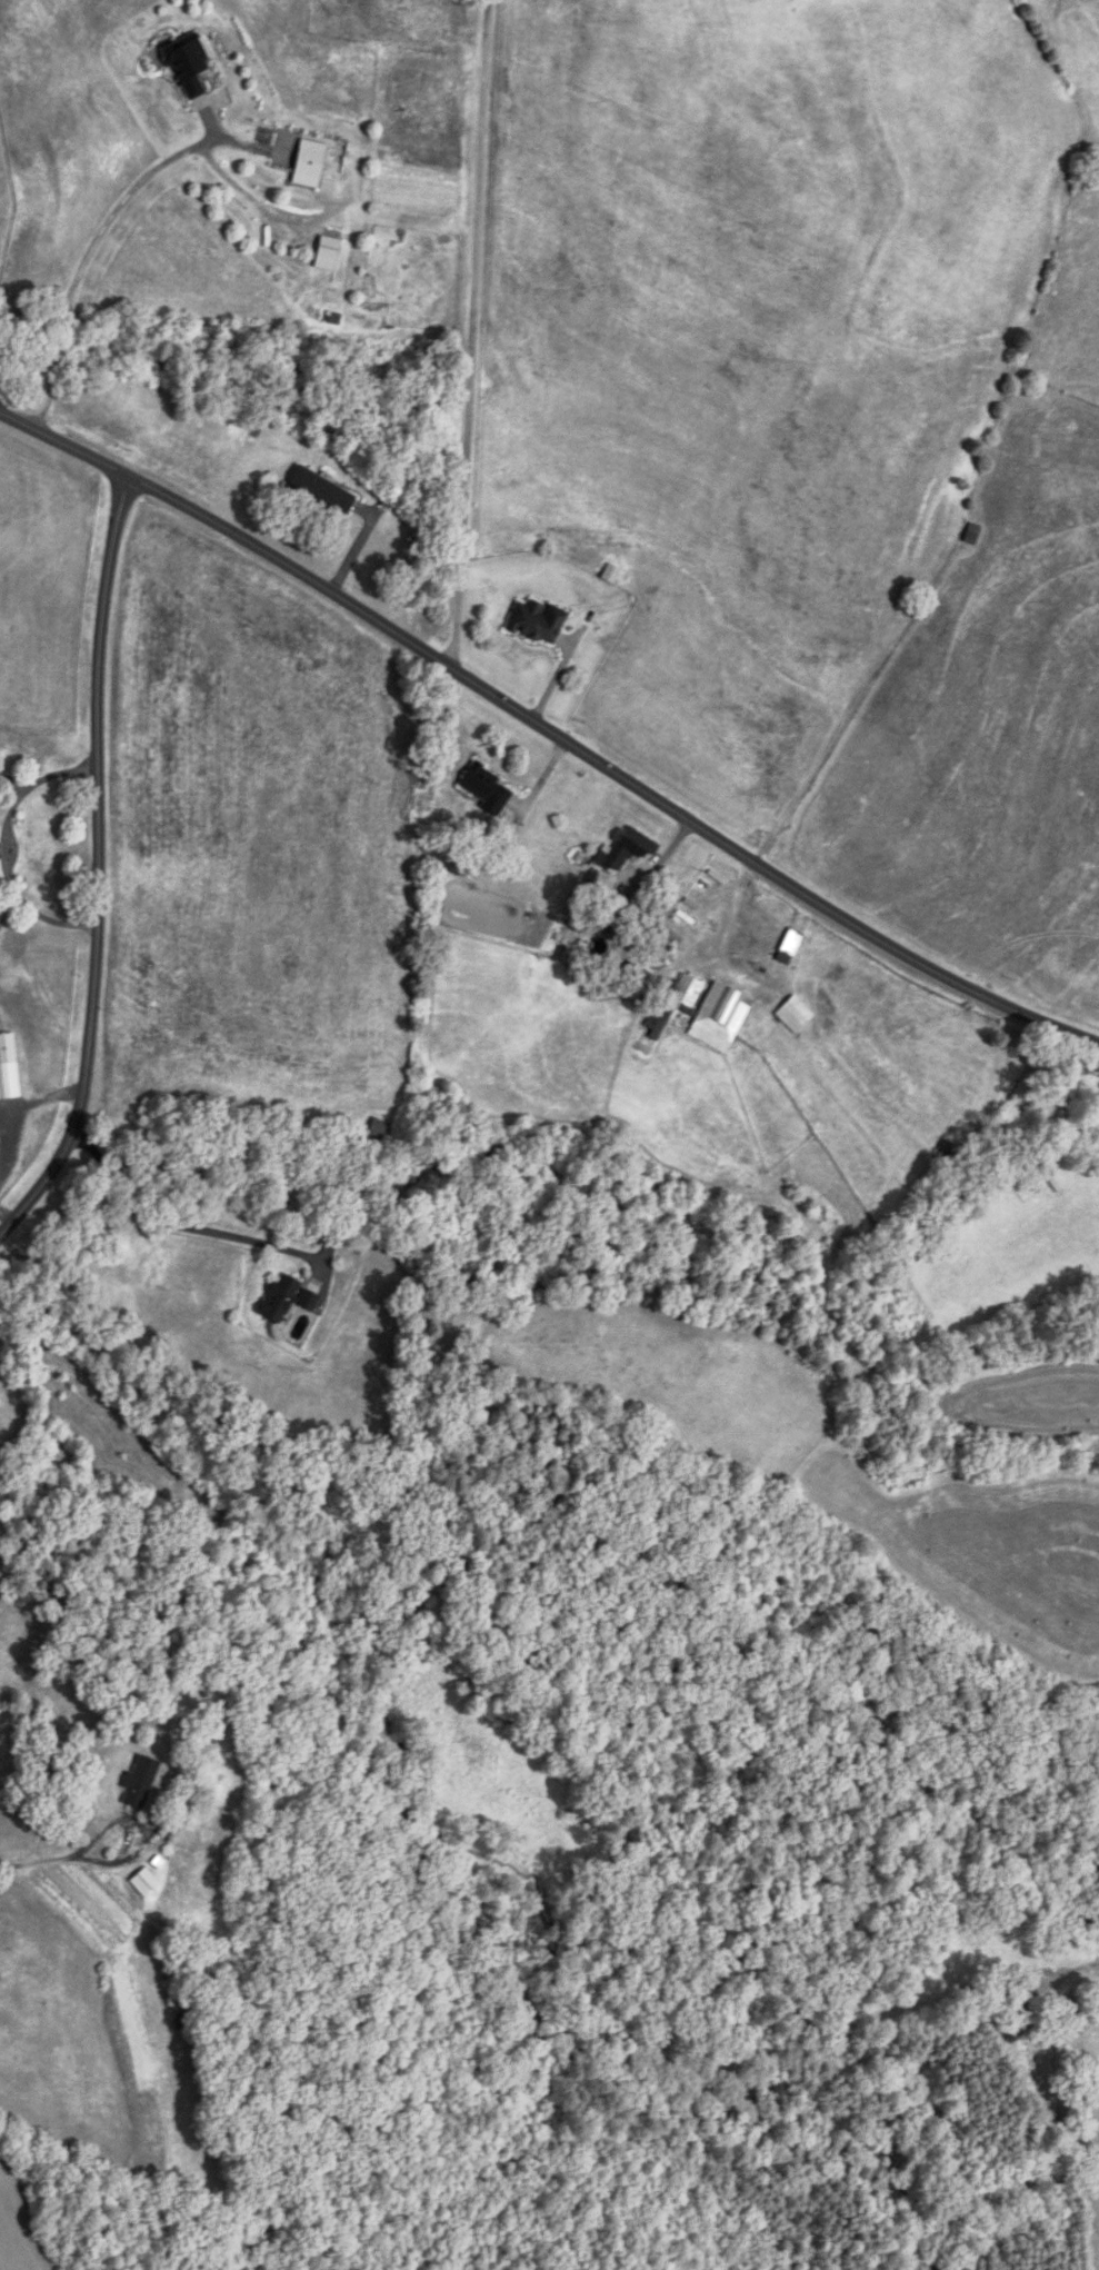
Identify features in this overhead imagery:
building: (191, 63)
building: (311, 163)
building: (329, 252)
road: (83, 256)
road: (476, 335)
building: (323, 491)
building: (973, 535)
building: (539, 620)
road: (549, 729)
building: (488, 788)
road: (3, 846)
building: (628, 849)
road: (98, 862)
road: (8, 910)
building: (791, 947)
building: (705, 1012)
building: (797, 1015)
building: (9, 1068)
road: (19, 1107)
road: (3, 1216)
road: (170, 1223)
building: (287, 1298)
building: (141, 1781)
road: (136, 1830)
road: (37, 1862)
building: (146, 1882)
building: (188, 2023)

